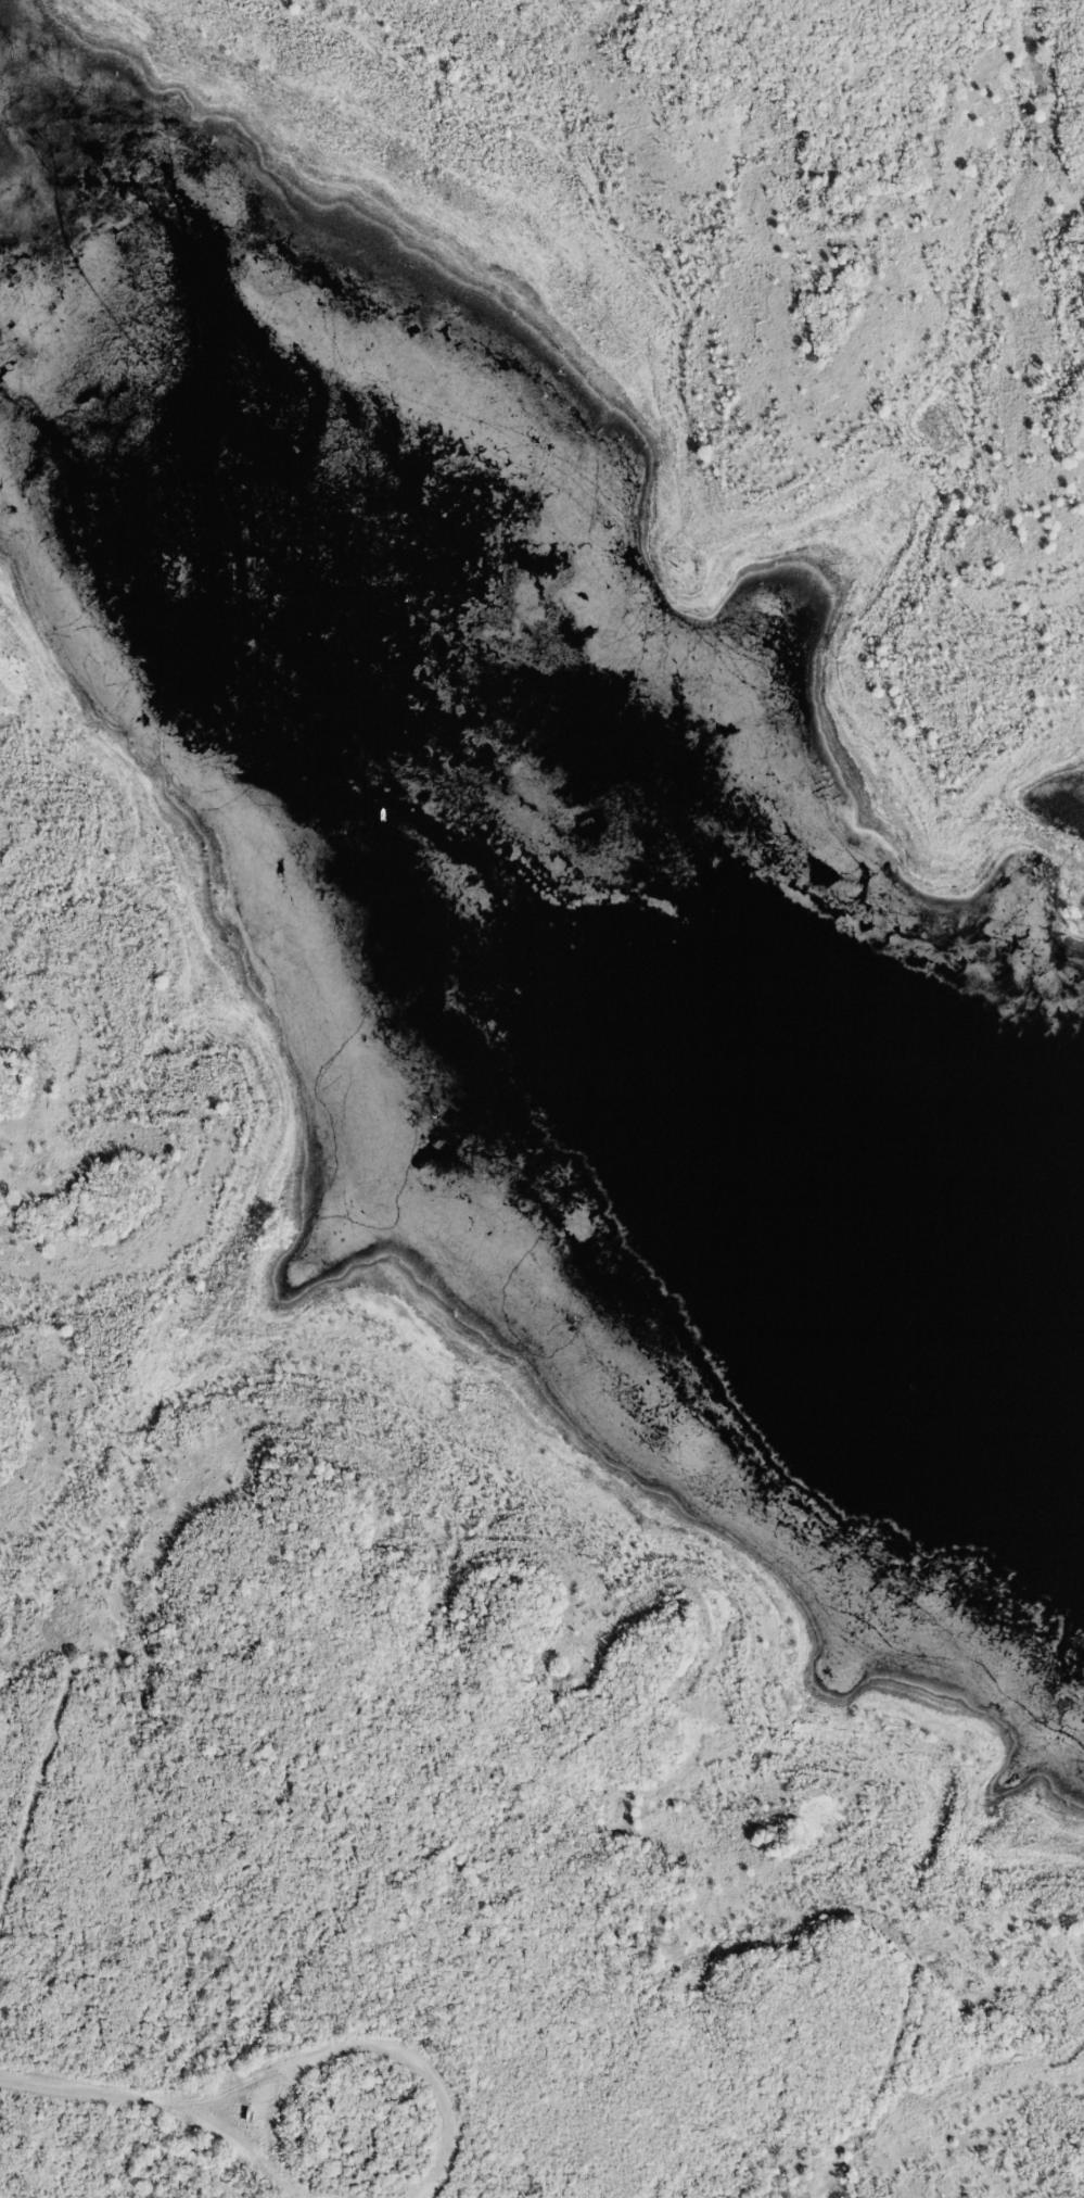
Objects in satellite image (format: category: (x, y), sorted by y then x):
road: (368, 2043)
road: (87, 2089)
road: (237, 2149)

